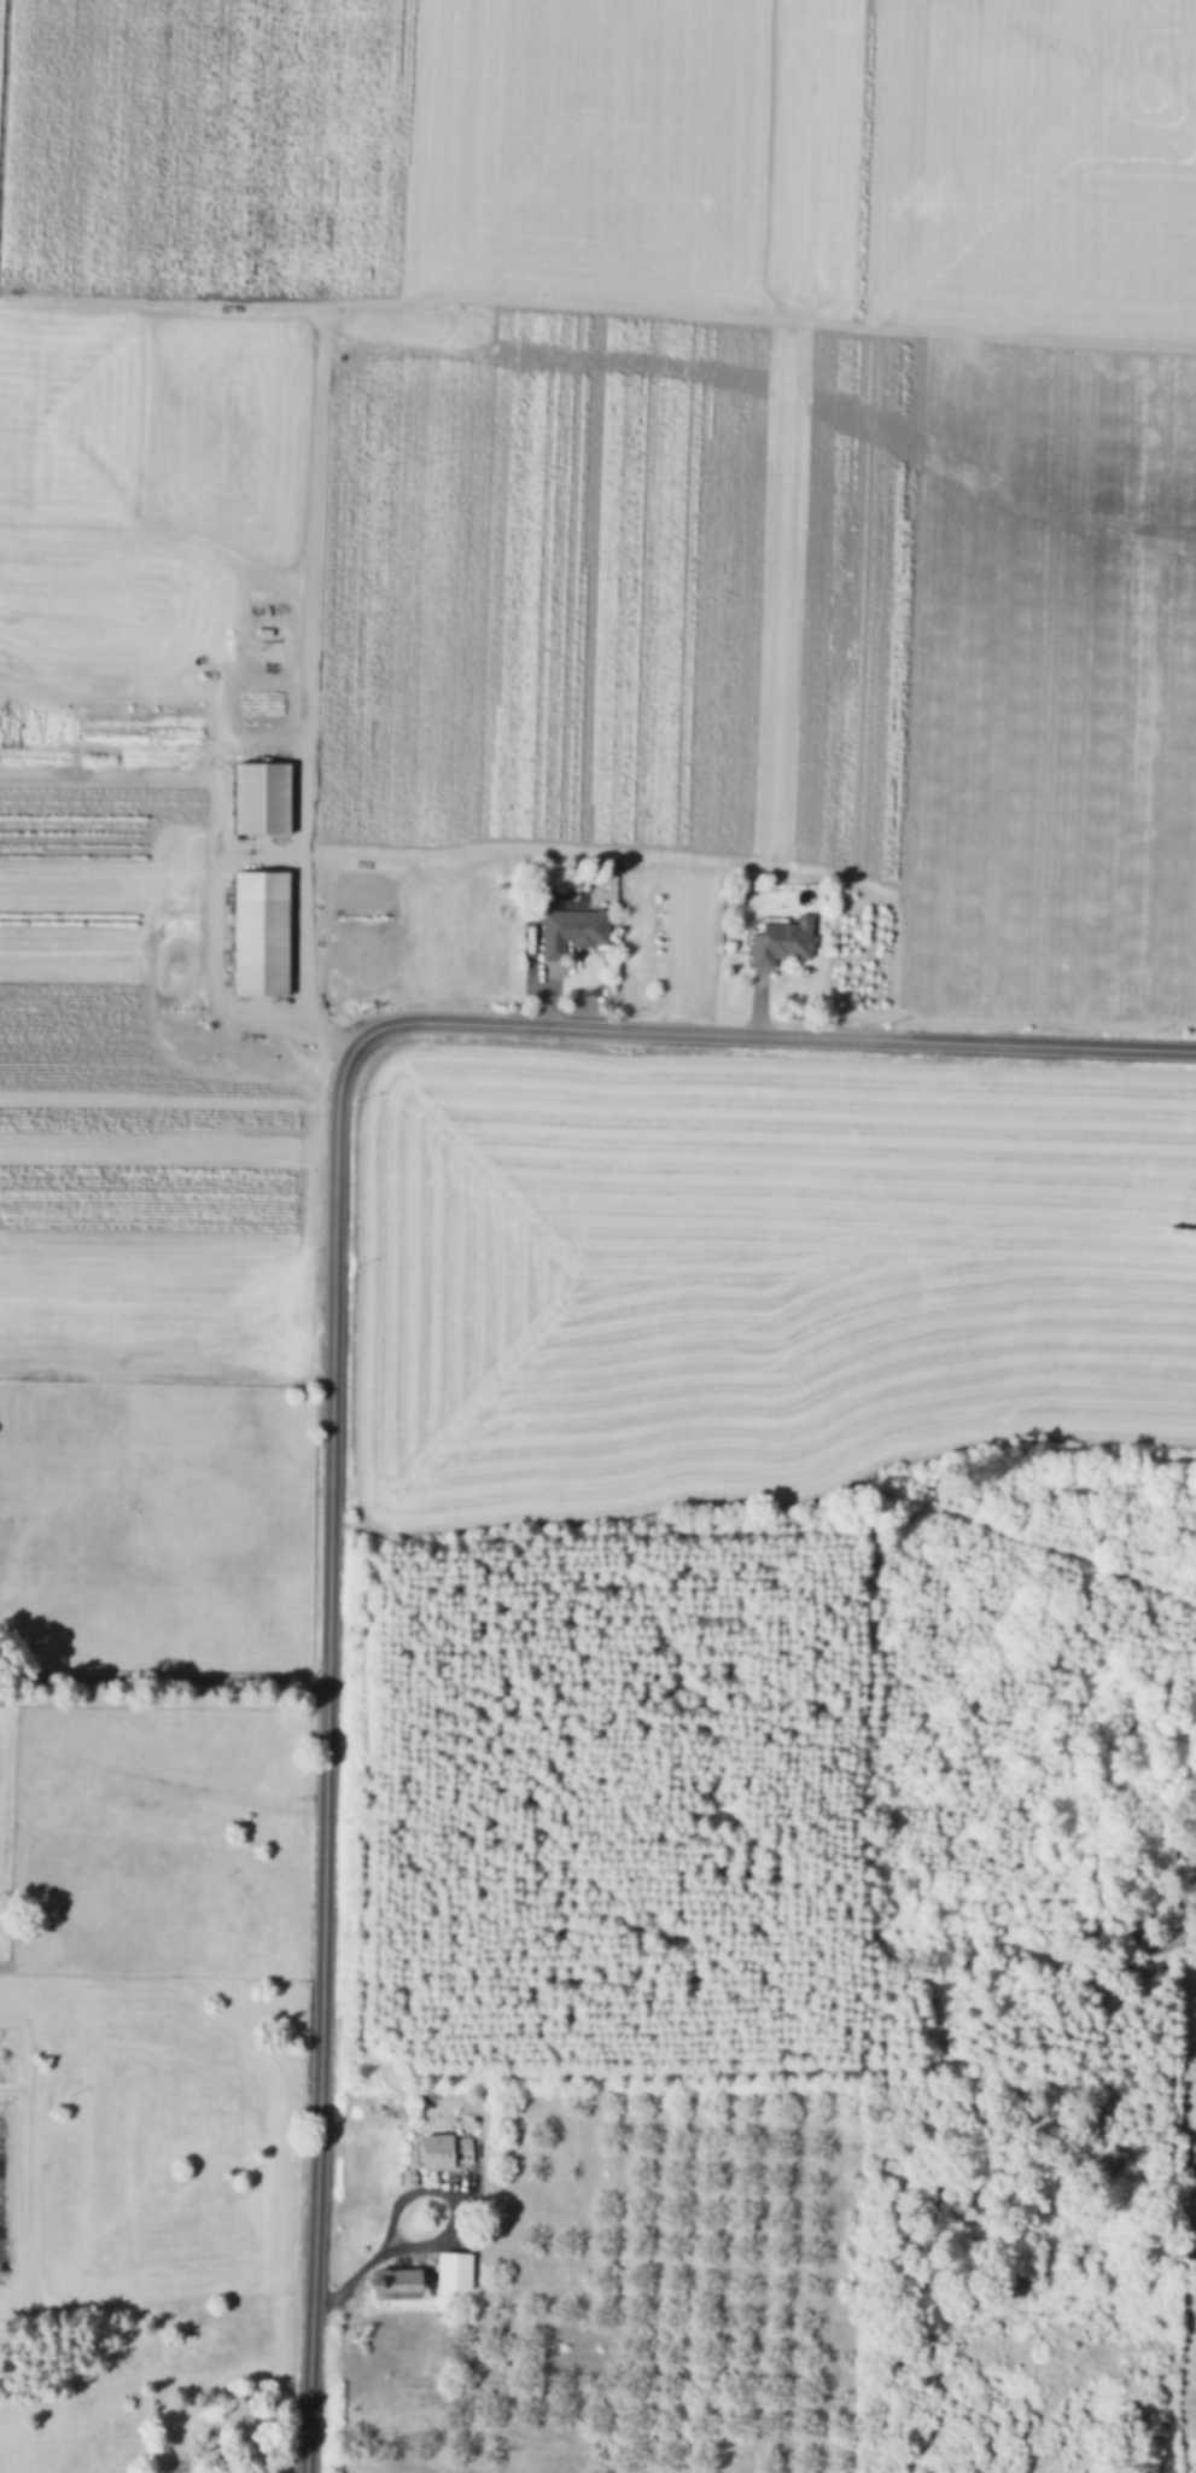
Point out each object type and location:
road: (917, 165)
road: (614, 308)
road: (162, 533)
building: (263, 798)
road: (301, 839)
building: (573, 930)
road: (209, 931)
building: (262, 933)
building: (783, 939)
road: (533, 972)
road: (758, 1001)
road: (332, 1333)
road: (163, 1680)
building: (1143, 1973)
building: (444, 2151)
road: (439, 2238)
building: (455, 2271)
building: (393, 2281)

